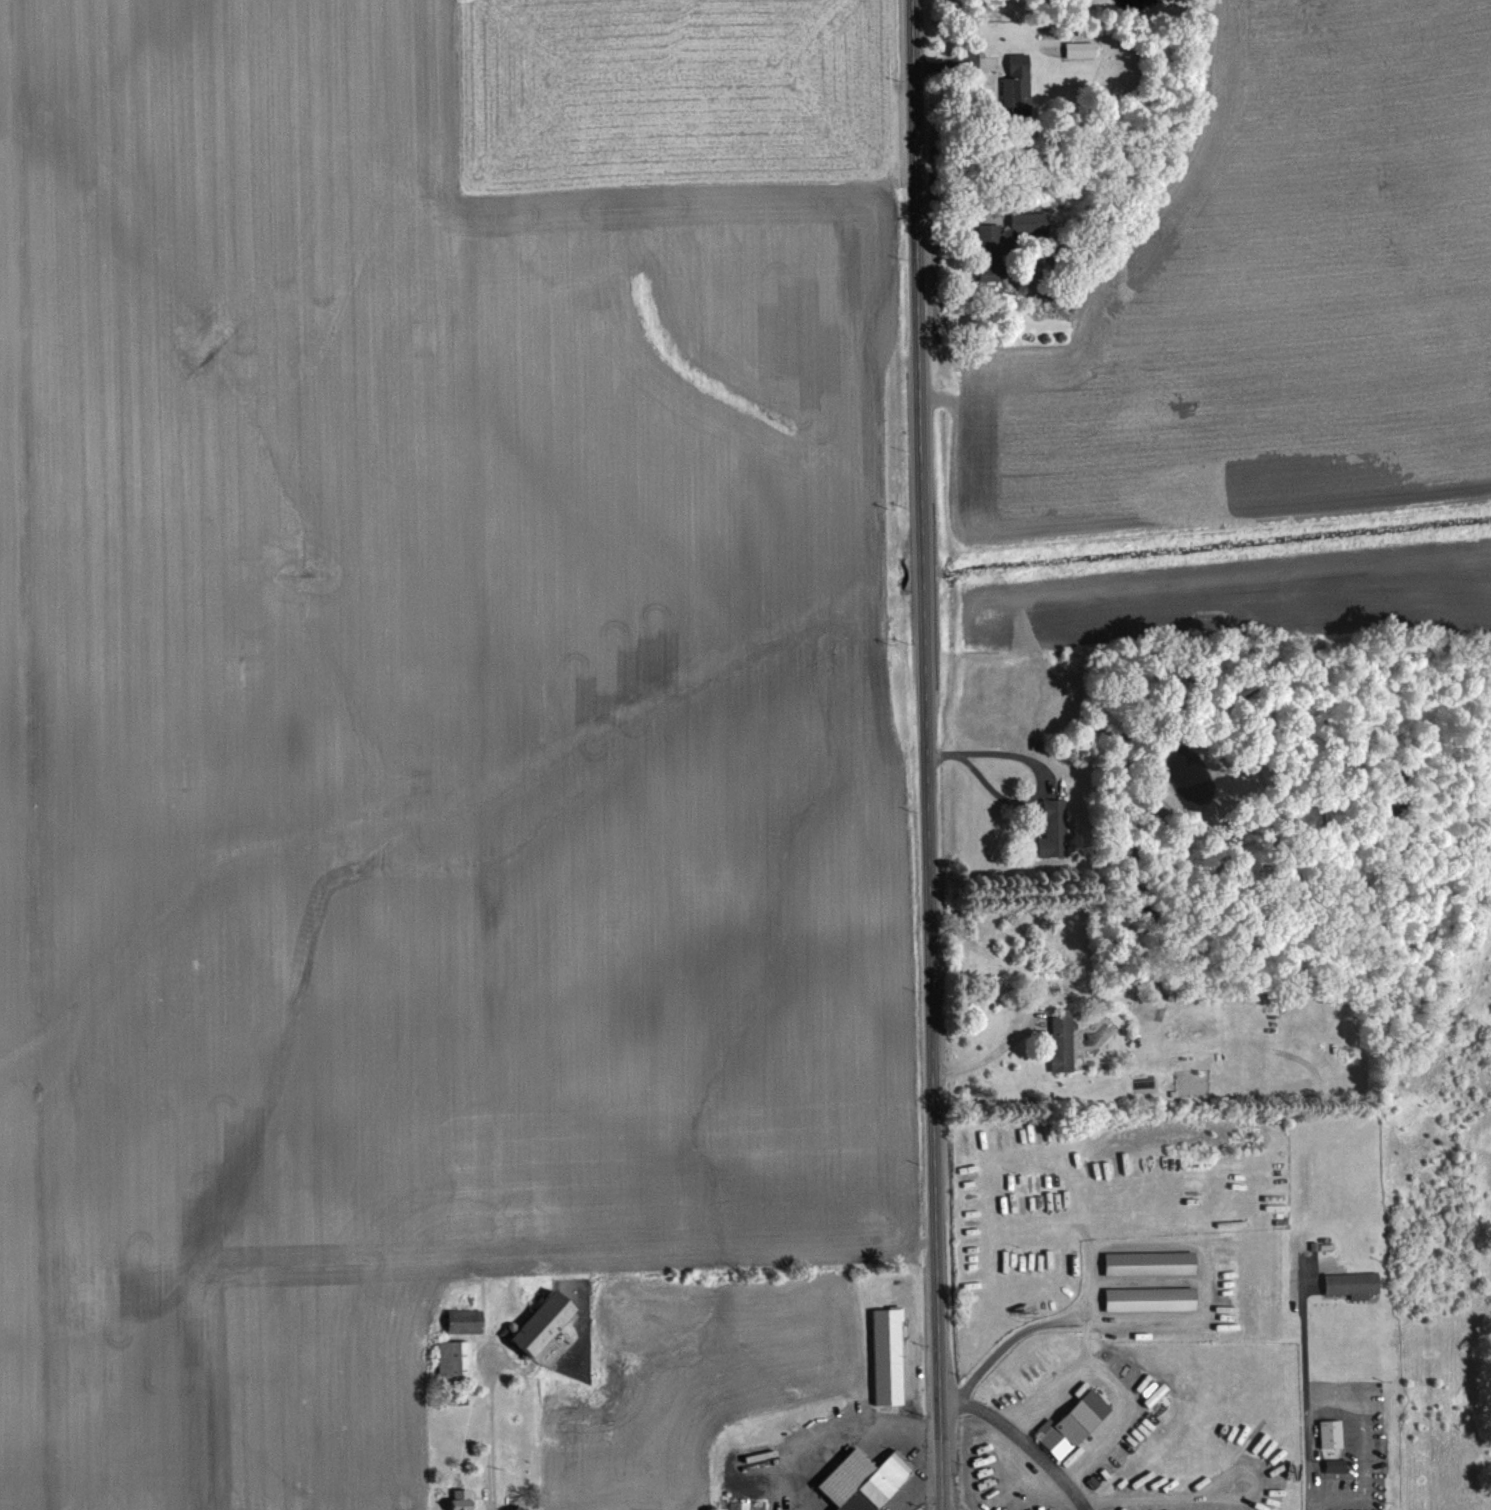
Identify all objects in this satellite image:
building: (1080, 51)
building: (988, 64)
building: (1017, 81)
building: (992, 252)
road: (930, 755)
road: (1044, 773)
building: (1054, 830)
building: (1062, 1042)
building: (1150, 1264)
building: (1351, 1285)
building: (1150, 1300)
building: (466, 1322)
building: (546, 1324)
building: (888, 1357)
building: (455, 1362)
road: (1303, 1406)
building: (1075, 1425)
building: (1331, 1435)
road: (487, 1436)
road: (1024, 1442)
building: (865, 1481)
building: (462, 1500)

